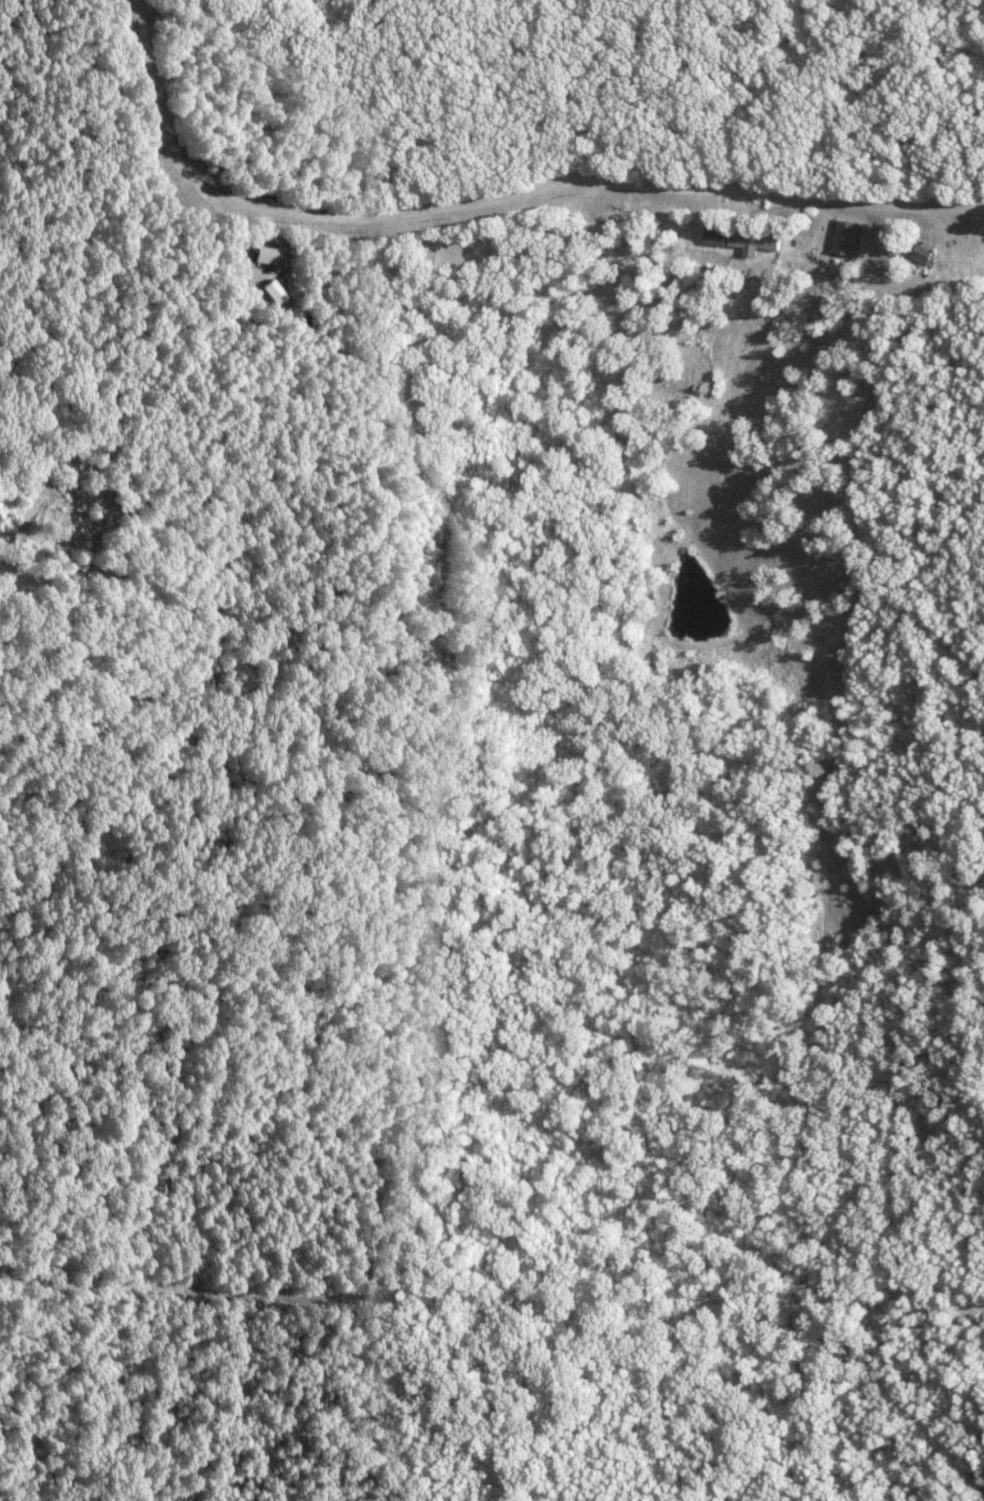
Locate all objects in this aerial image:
road: (495, 188)
building: (844, 239)
building: (741, 240)
building: (472, 249)
building: (920, 252)

